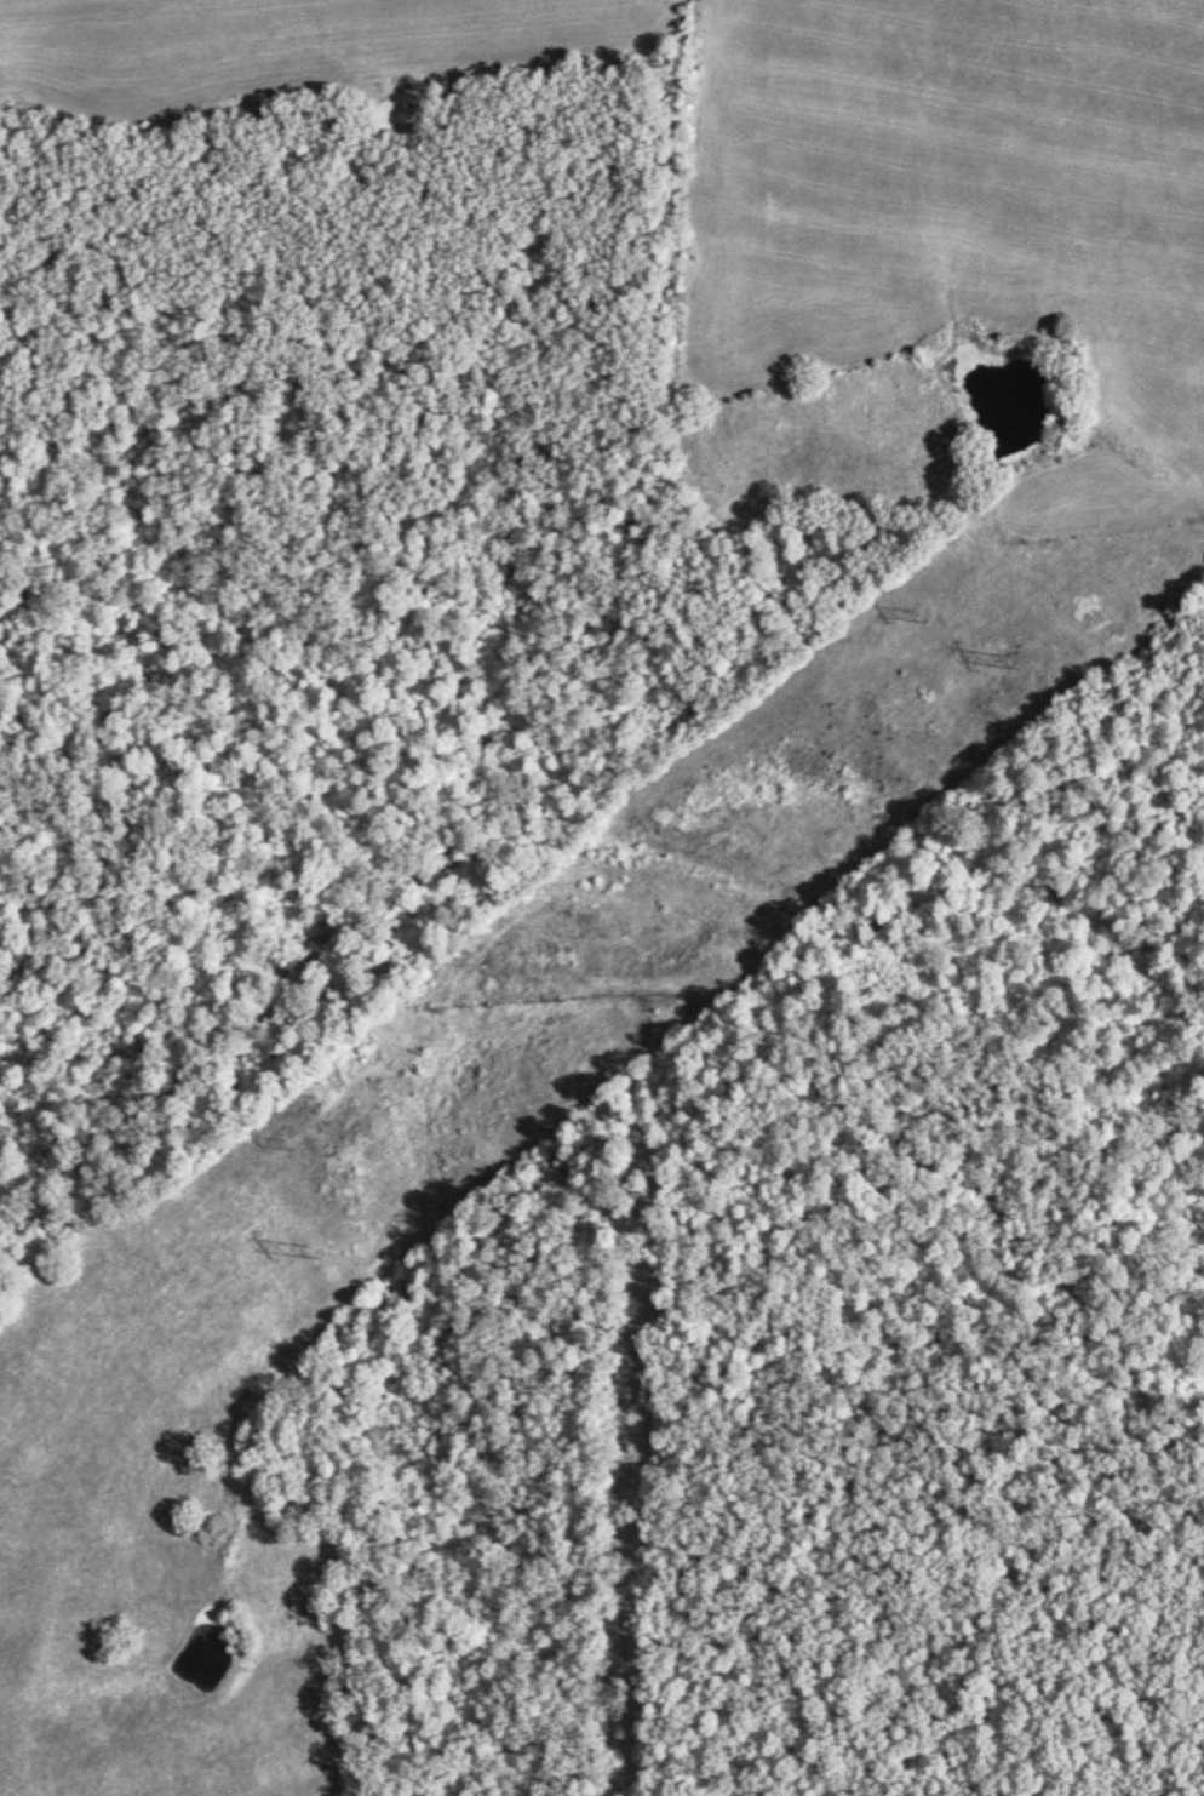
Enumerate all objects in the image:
power tower: (1009, 657)
power tower: (306, 1246)

